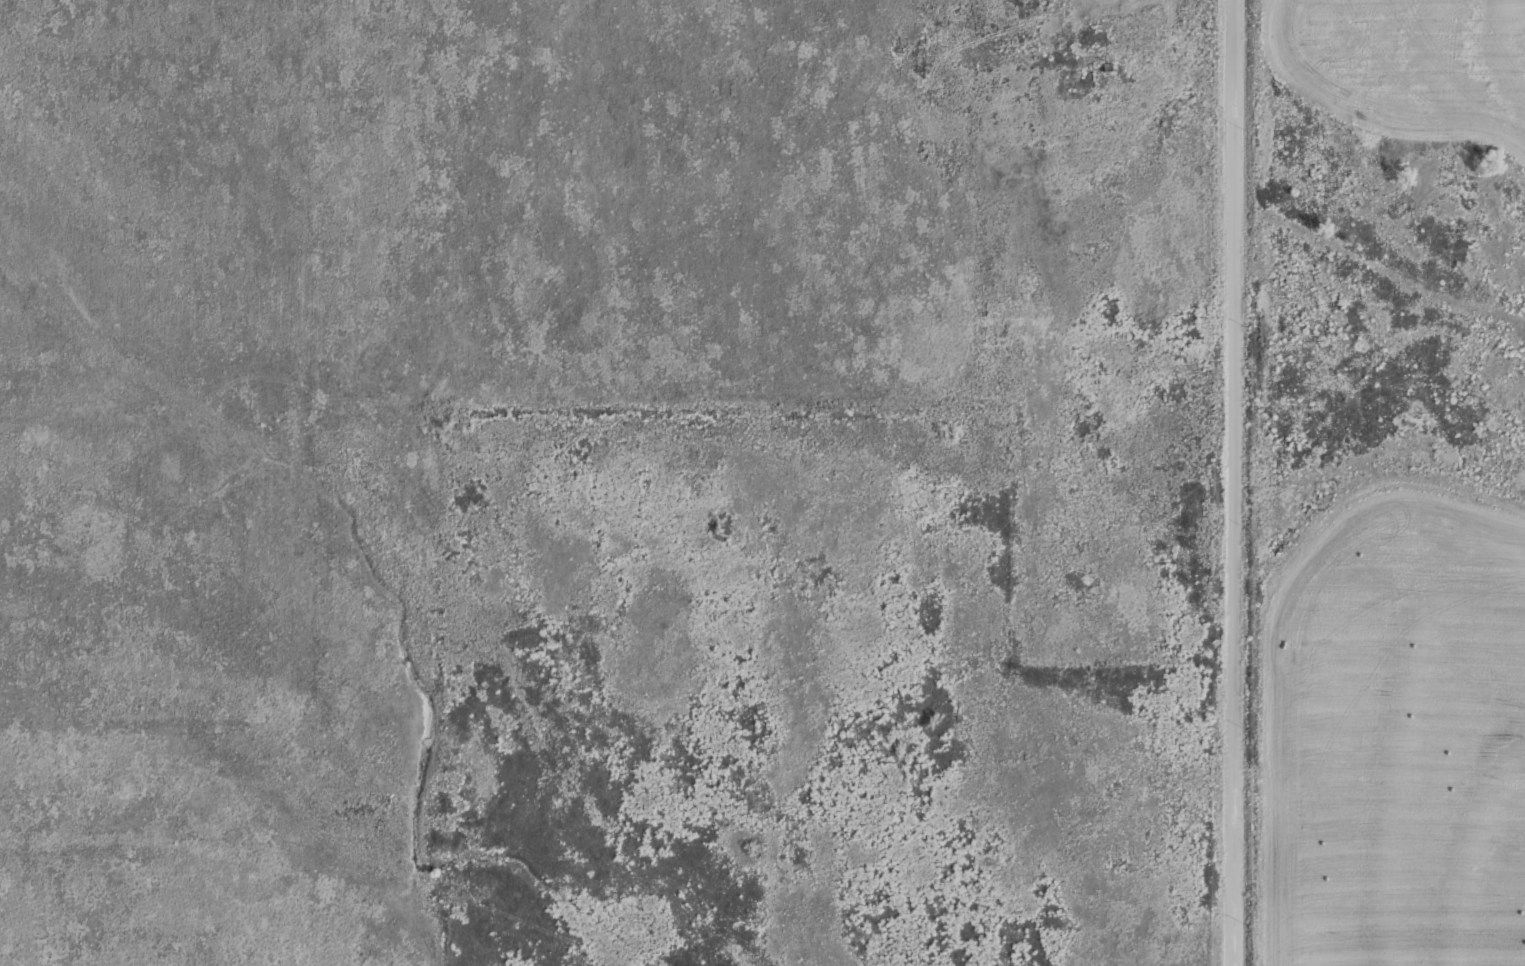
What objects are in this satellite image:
road: (1236, 482)

